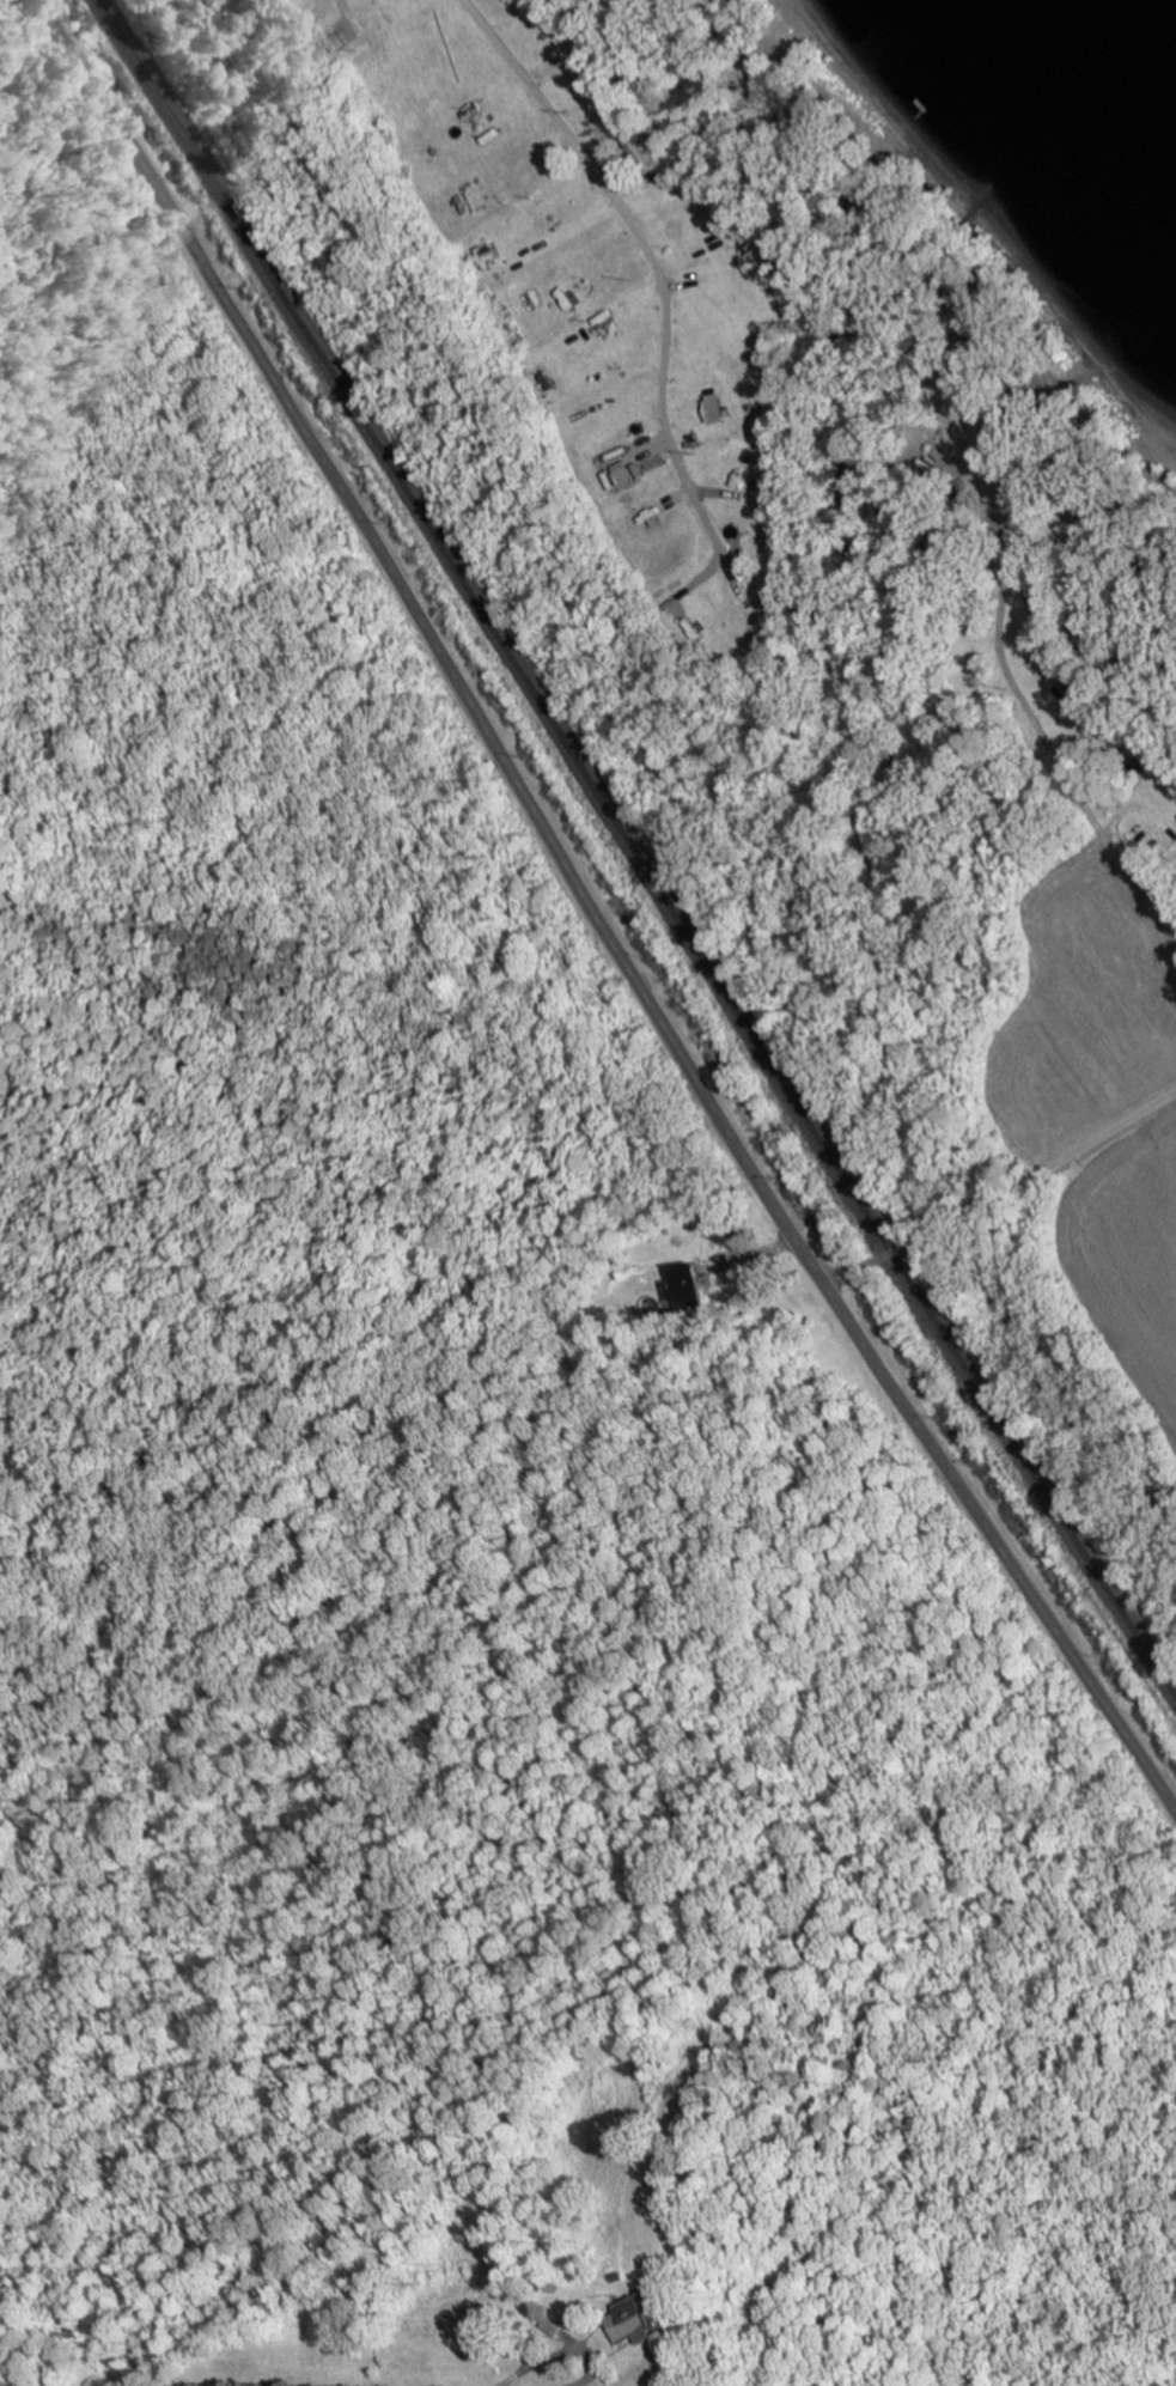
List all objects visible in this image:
road: (646, 256)
road: (1054, 748)
railway: (633, 848)
road: (593, 911)
road: (1001, 1193)
road: (554, 2351)

